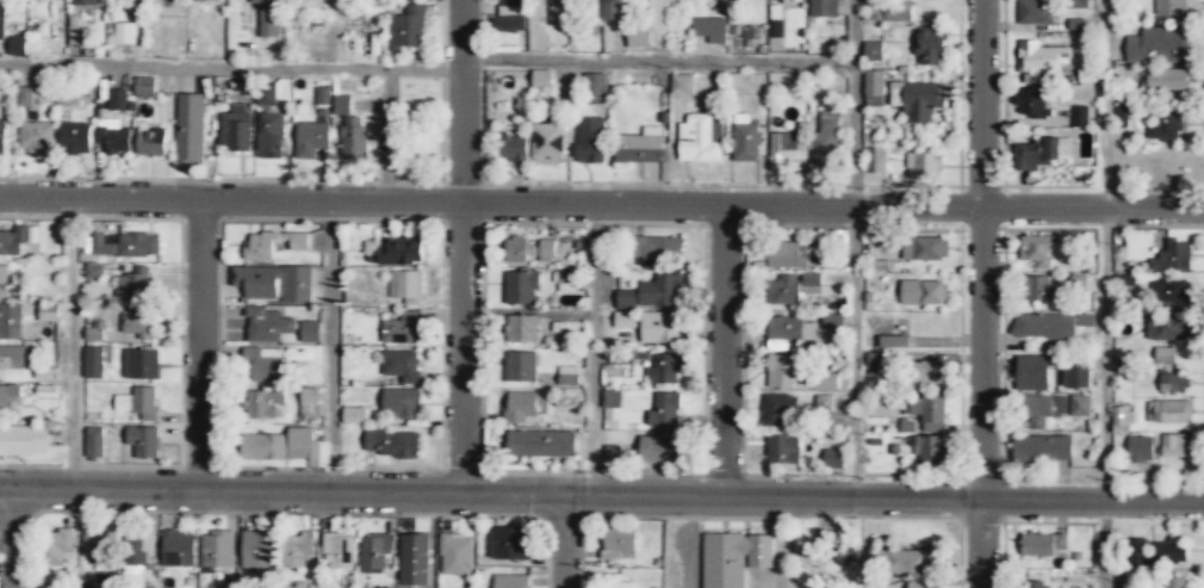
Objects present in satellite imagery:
building: (207, 0)
building: (781, 0)
building: (267, 1)
building: (83, 2)
building: (513, 4)
building: (824, 7)
building: (1168, 7)
building: (610, 10)
building: (1035, 11)
building: (898, 12)
building: (559, 14)
building: (2, 19)
building: (268, 20)
building: (775, 20)
building: (509, 23)
building: (405, 27)
building: (709, 29)
building: (123, 32)
building: (639, 37)
building: (15, 45)
building: (1158, 45)
building: (931, 47)
building: (873, 51)
building: (1039, 60)
road: (430, 74)
building: (541, 78)
building: (1163, 79)
building: (682, 83)
building: (144, 87)
building: (597, 87)
building: (873, 87)
building: (27, 95)
building: (265, 95)
building: (322, 95)
building: (116, 99)
building: (921, 100)
road: (856, 103)
building: (1035, 103)
building: (1080, 116)
building: (1165, 125)
building: (188, 128)
building: (235, 129)
building: (350, 130)
building: (2, 135)
building: (269, 136)
building: (36, 137)
building: (75, 137)
building: (825, 137)
building: (113, 138)
building: (310, 138)
building: (700, 138)
building: (746, 138)
building: (149, 141)
building: (590, 141)
building: (547, 143)
building: (640, 146)
building: (514, 148)
building: (786, 149)
building: (1039, 153)
building: (874, 160)
building: (924, 166)
road: (428, 202)
road: (1030, 206)
building: (17, 239)
building: (125, 245)
building: (273, 247)
road: (463, 247)
building: (658, 247)
building: (924, 248)
building: (1038, 249)
building: (529, 250)
road: (1106, 250)
building: (402, 252)
building: (1169, 254)
building: (788, 255)
building: (880, 265)
building: (94, 272)
building: (4, 280)
building: (566, 280)
building: (134, 284)
building: (298, 286)
building: (794, 286)
building: (409, 290)
building: (521, 290)
building: (1041, 290)
building: (660, 291)
building: (1172, 291)
building: (924, 292)
road: (983, 293)
building: (626, 299)
building: (48, 312)
building: (625, 320)
building: (832, 321)
building: (10, 322)
building: (138, 322)
building: (1049, 324)
building: (267, 326)
building: (662, 328)
building: (789, 328)
building: (1168, 328)
building: (310, 332)
building: (402, 332)
building: (522, 332)
building: (94, 334)
building: (894, 341)
road: (74, 343)
road: (200, 346)
road: (333, 347)
road: (725, 348)
road: (856, 351)
road: (595, 352)
building: (1165, 354)
building: (12, 358)
building: (97, 360)
building: (875, 363)
building: (139, 364)
building: (263, 365)
building: (402, 369)
building: (521, 369)
building: (664, 369)
building: (780, 371)
building: (932, 371)
building: (1032, 372)
building: (45, 373)
building: (1076, 375)
building: (567, 376)
building: (826, 380)
building: (1173, 383)
building: (46, 391)
building: (612, 398)
building: (138, 402)
building: (266, 403)
building: (309, 403)
building: (401, 403)
building: (823, 403)
building: (1080, 406)
building: (777, 408)
building: (519, 409)
building: (665, 409)
building: (1045, 409)
building: (929, 411)
building: (1168, 411)
building: (354, 415)
building: (1122, 419)
building: (907, 426)
building: (24, 440)
building: (94, 440)
building: (143, 440)
building: (393, 444)
building: (281, 445)
building: (1173, 445)
building: (539, 447)
building: (1042, 447)
building: (660, 448)
building: (782, 448)
building: (1140, 448)
building: (931, 450)
building: (833, 458)
road: (553, 495)
road: (1155, 500)
road: (13, 539)
road: (561, 539)
building: (617, 543)
building: (511, 544)
building: (1043, 544)
road: (1105, 544)
building: (57, 546)
building: (178, 549)
building: (217, 549)
building: (257, 549)
building: (298, 549)
building: (802, 549)
building: (339, 550)
building: (376, 551)
building: (846, 552)
building: (1172, 552)
building: (139, 555)
building: (457, 555)
building: (1141, 555)
building: (733, 558)
building: (414, 559)
building: (907, 559)
building: (510, 581)
building: (616, 582)
building: (1173, 582)
building: (924, 584)

